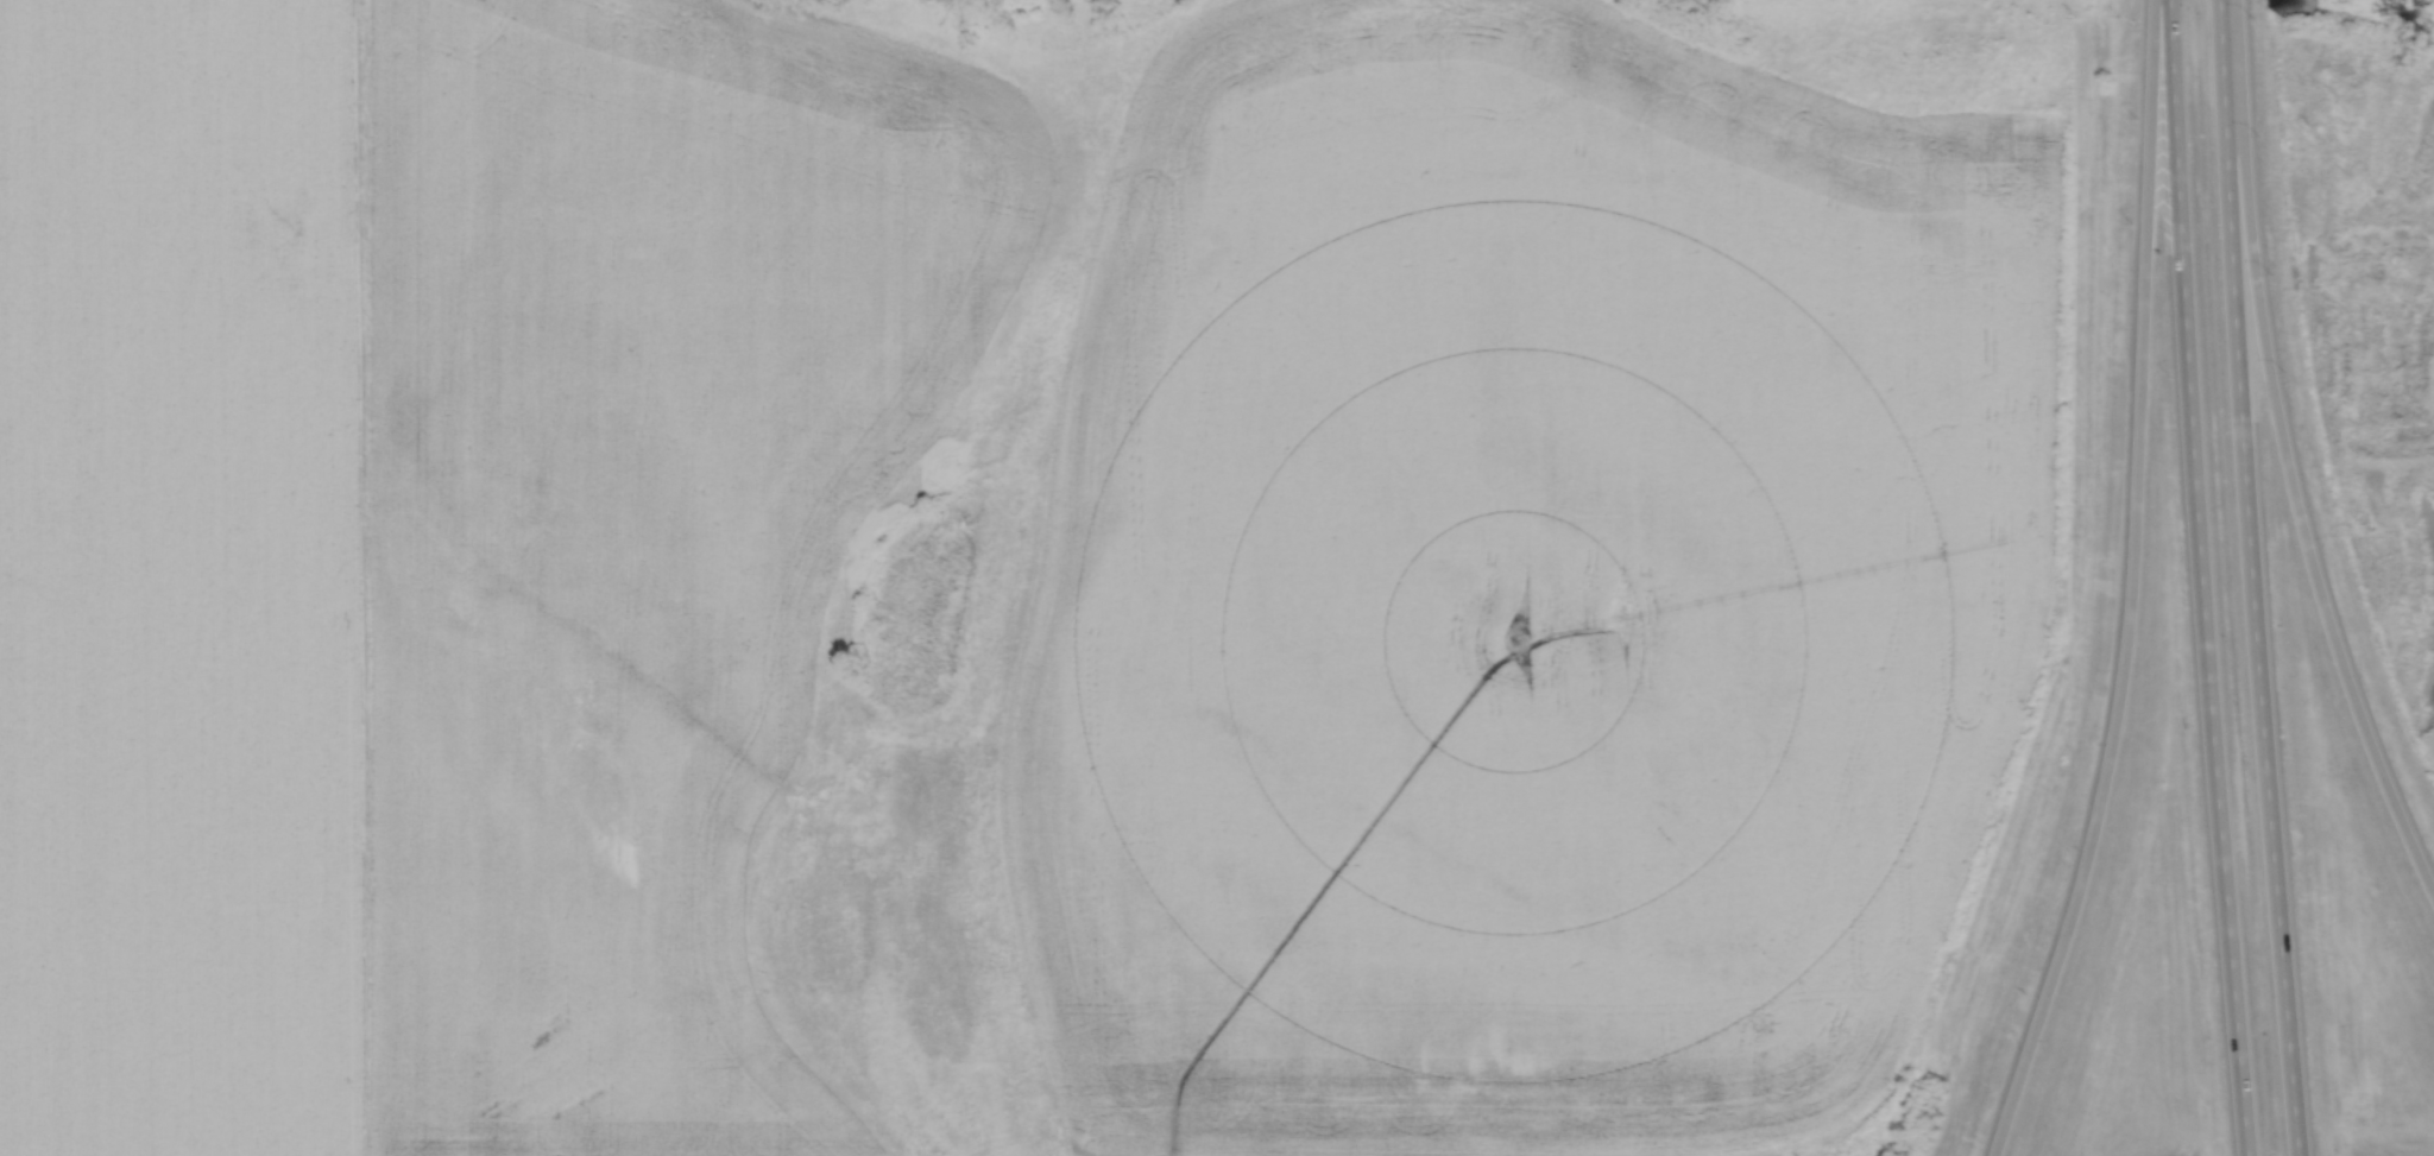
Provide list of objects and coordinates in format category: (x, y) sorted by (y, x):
road: (2285, 456)
crop: (447, 548)
road: (2201, 577)
road: (2252, 577)
road: (2132, 587)
crop: (1525, 589)

